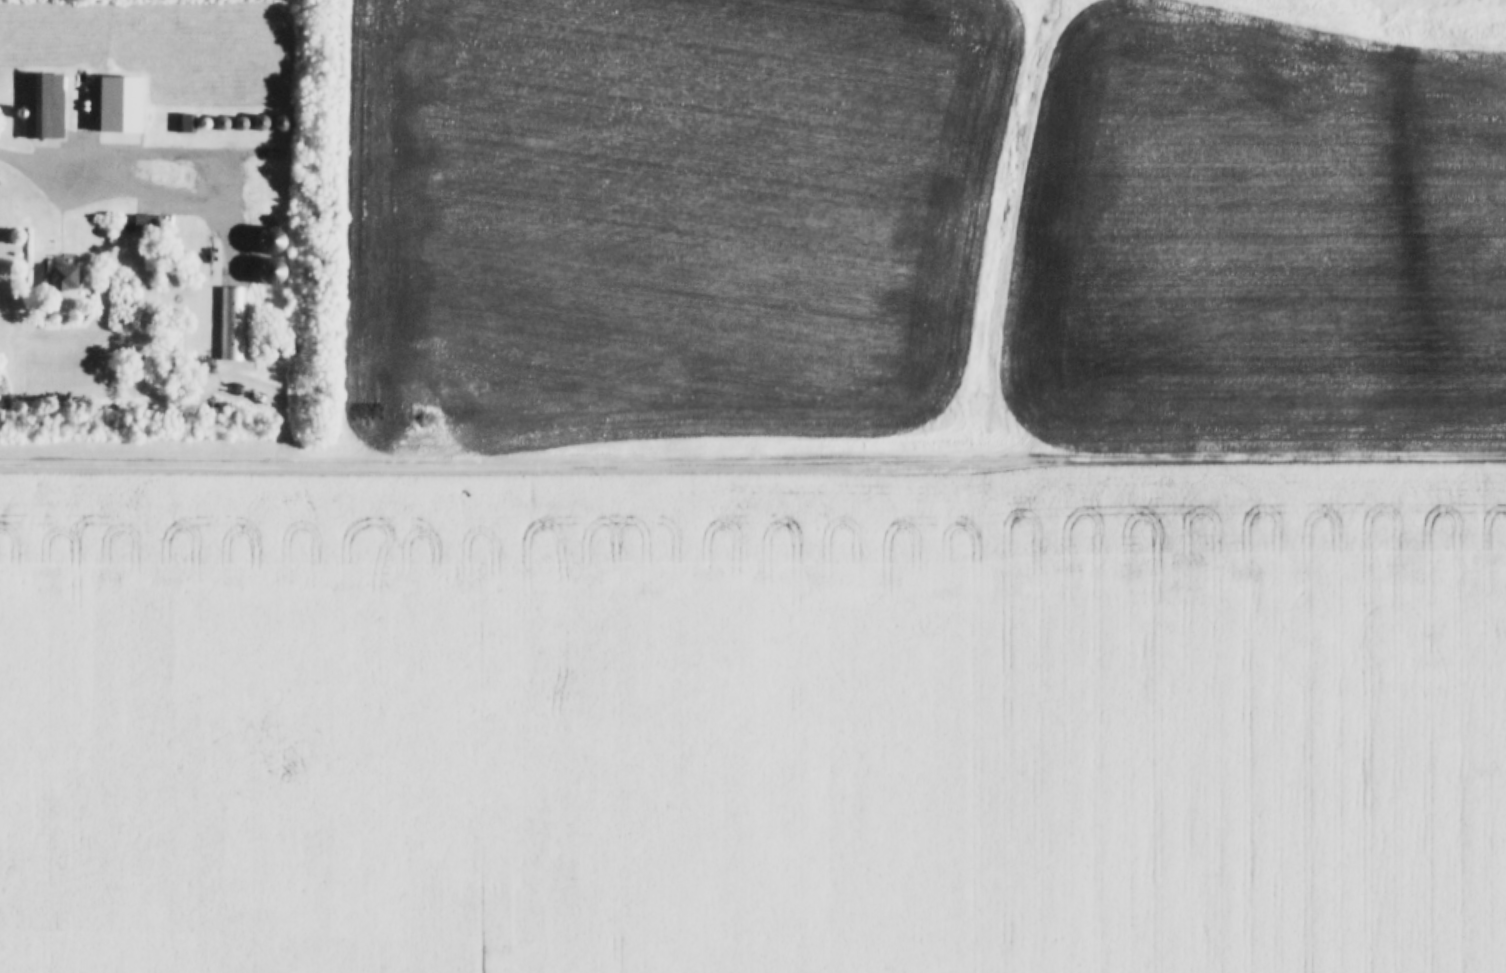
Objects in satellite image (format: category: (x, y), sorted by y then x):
road: (137, 190)
building: (276, 240)
building: (273, 272)
building: (65, 277)
building: (230, 324)
road: (753, 450)
crop: (758, 724)

